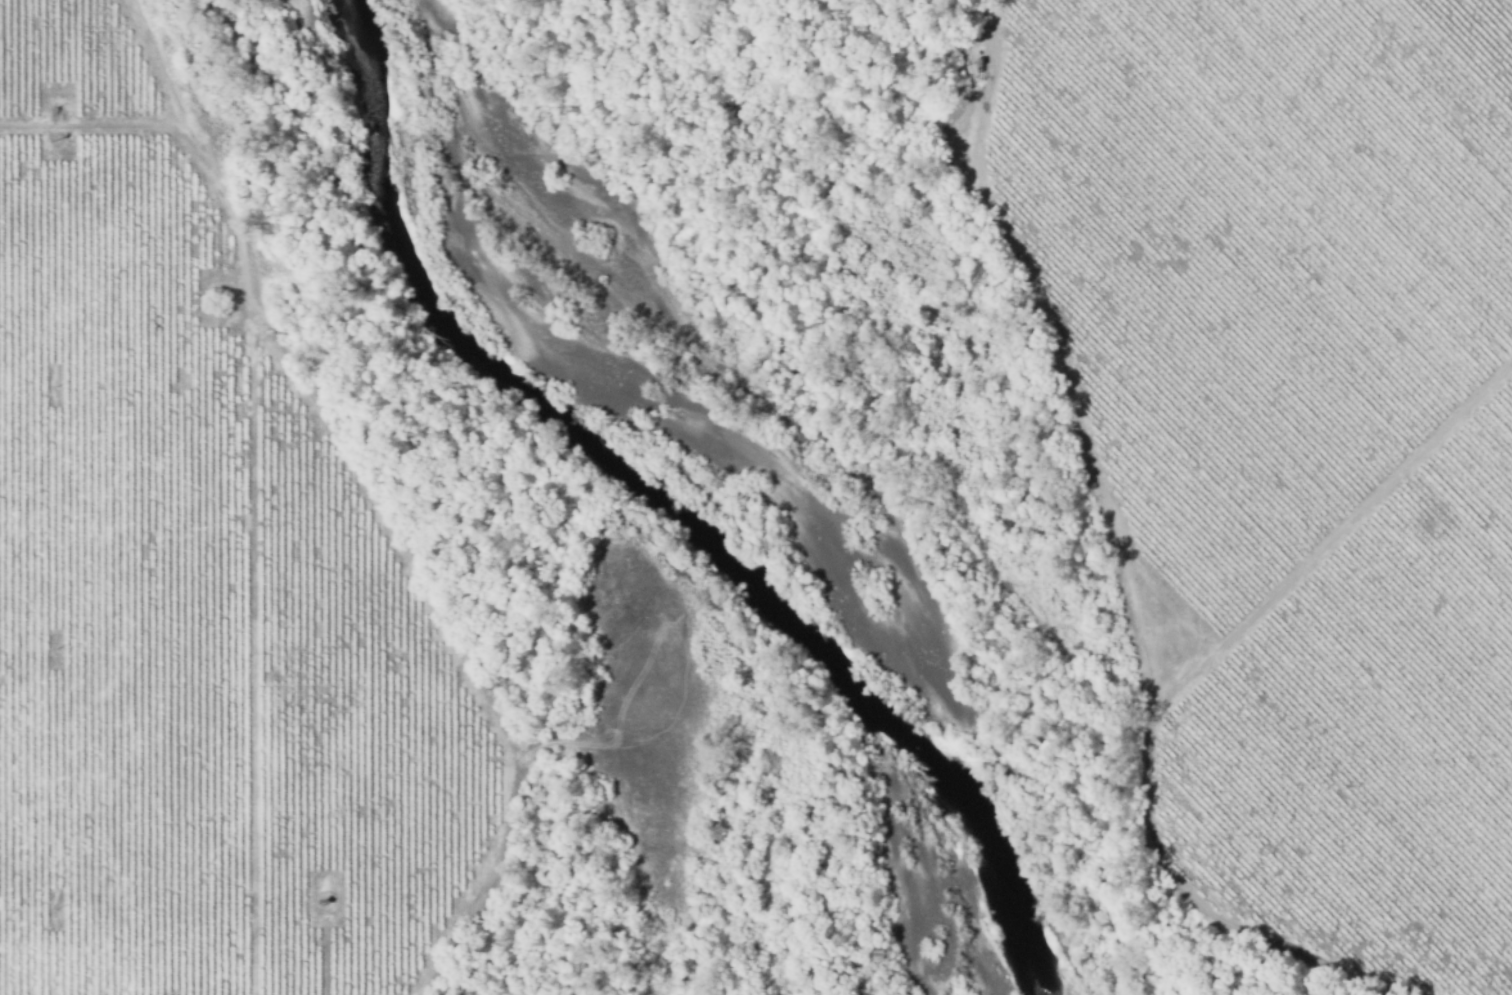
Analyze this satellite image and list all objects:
river: (662, 513)

